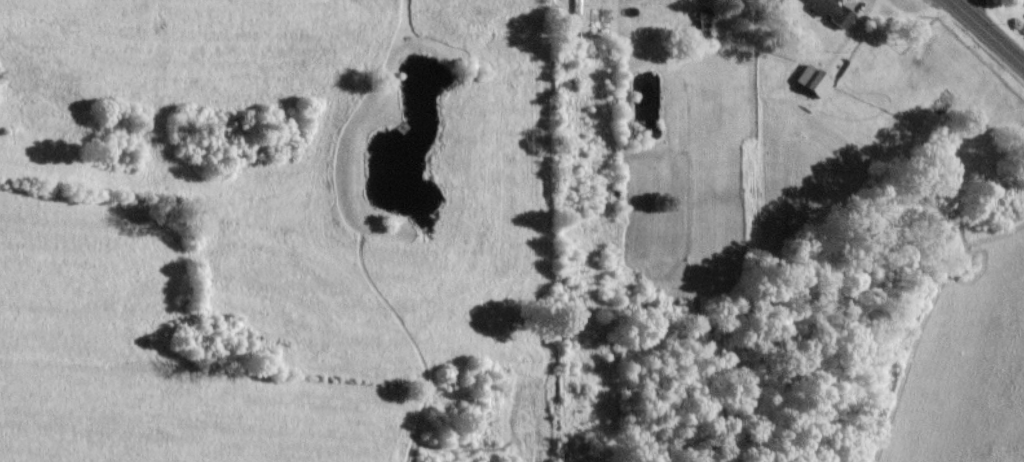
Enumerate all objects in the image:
building: (1018, 0)
building: (1023, 1)
building: (830, 11)
road: (985, 24)
road: (1019, 54)
building: (811, 80)

